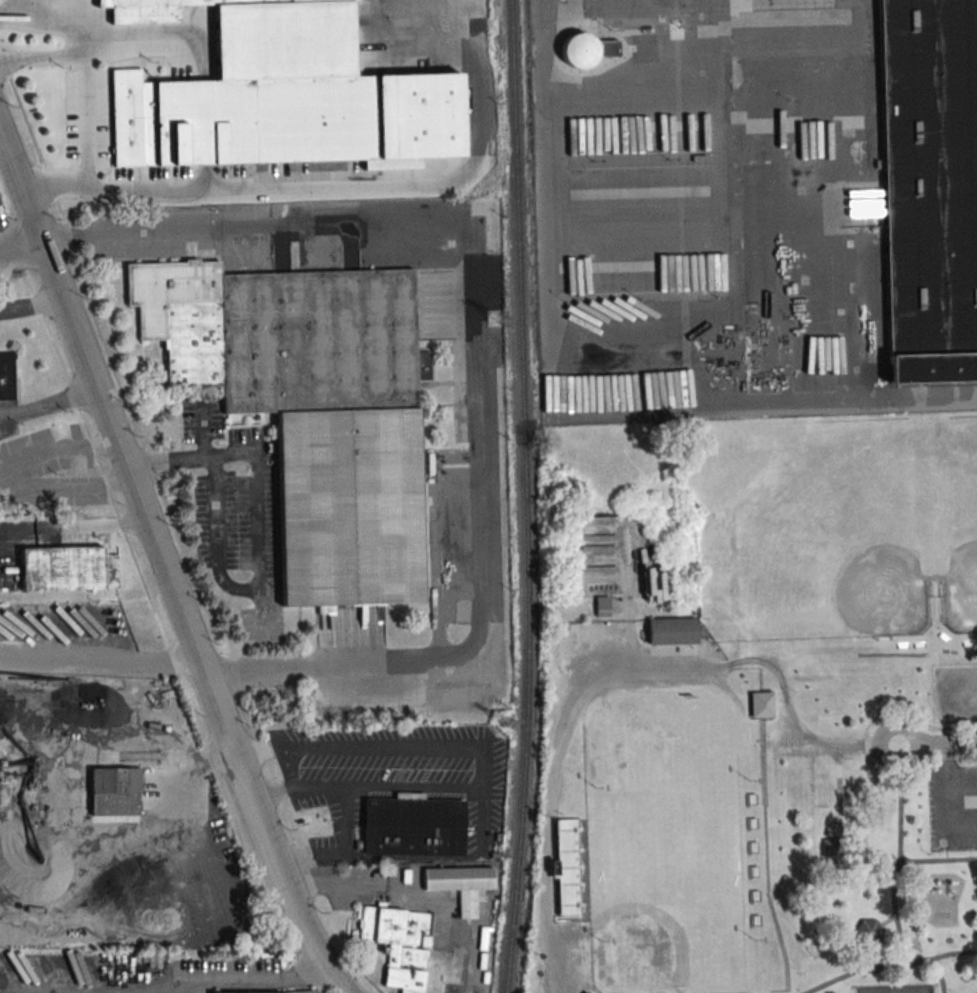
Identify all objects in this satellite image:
road: (43, 20)
building: (588, 50)
road: (44, 58)
building: (279, 94)
road: (87, 144)
building: (930, 187)
road: (303, 222)
road: (16, 228)
power tower: (495, 320)
building: (6, 377)
road: (48, 403)
building: (310, 407)
road: (201, 429)
road: (64, 450)
road: (68, 488)
railway: (540, 497)
park: (964, 514)
road: (72, 527)
park: (817, 533)
road: (259, 538)
building: (67, 568)
road: (163, 571)
road: (478, 628)
building: (672, 630)
road: (97, 664)
parking lot: (956, 695)
building: (761, 703)
park: (760, 707)
power tower: (502, 721)
road: (797, 723)
road: (937, 743)
road: (484, 759)
road: (552, 763)
road: (288, 766)
road: (963, 785)
building: (115, 791)
road: (838, 795)
road: (950, 798)
parking lot: (953, 804)
building: (413, 827)
building: (831, 846)
road: (339, 849)
park: (664, 854)
road: (900, 858)
building: (460, 885)
road: (896, 911)
road: (888, 921)
building: (867, 931)
building: (399, 944)
road: (953, 953)
parking lot: (564, 961)
road: (884, 964)
road: (254, 980)
park: (896, 989)
building: (317, 992)
building: (585, 992)

